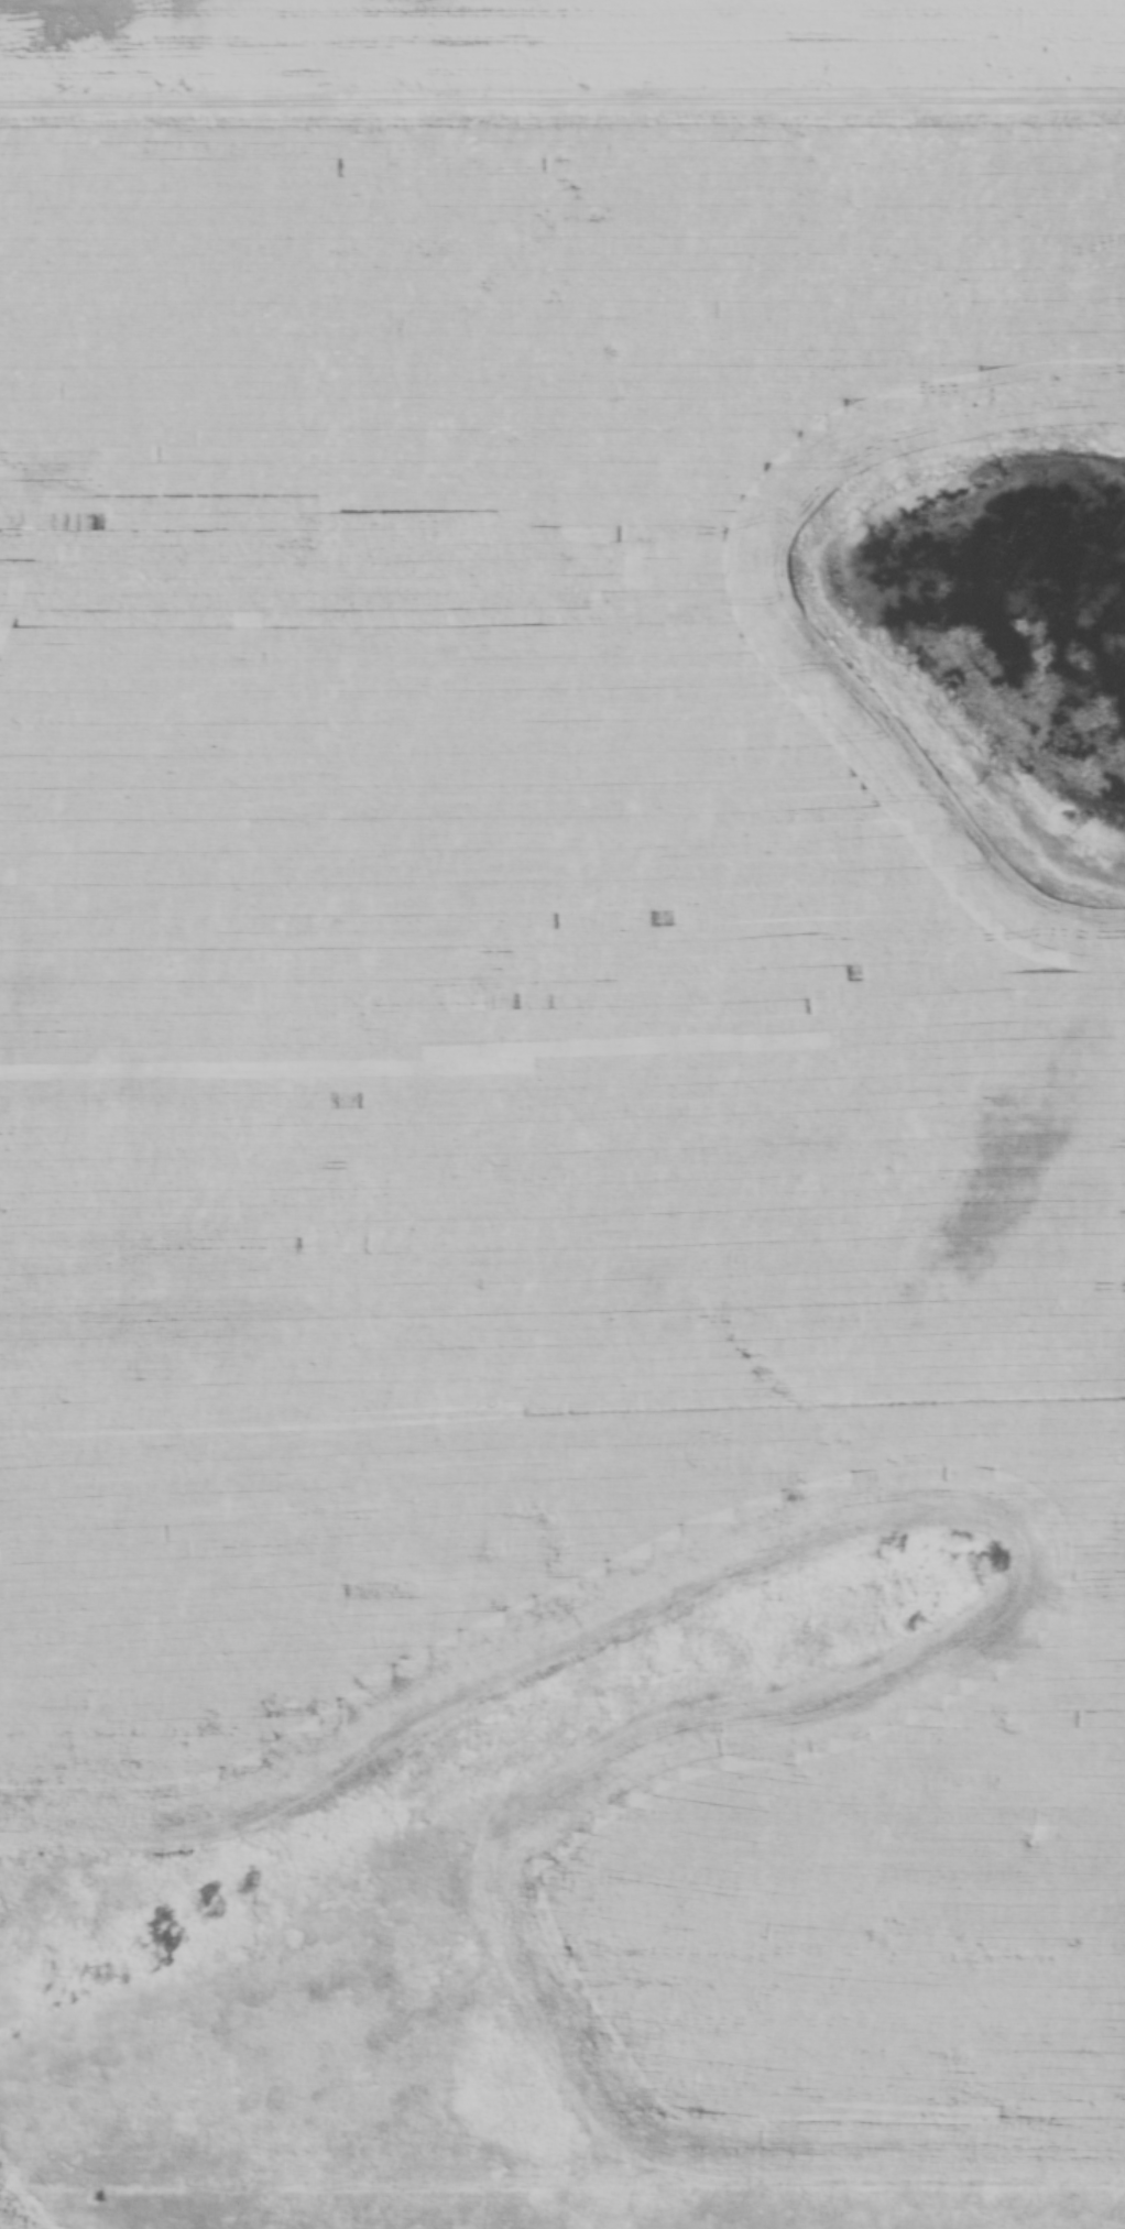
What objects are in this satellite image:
road: (562, 108)

